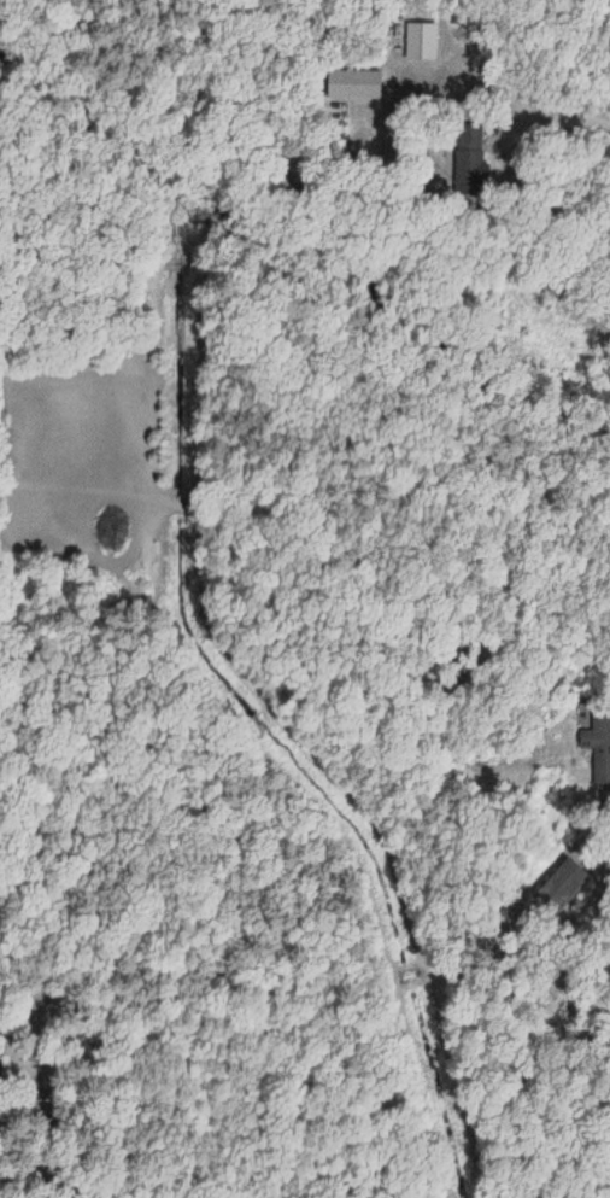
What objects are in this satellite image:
building: (471, 154)

